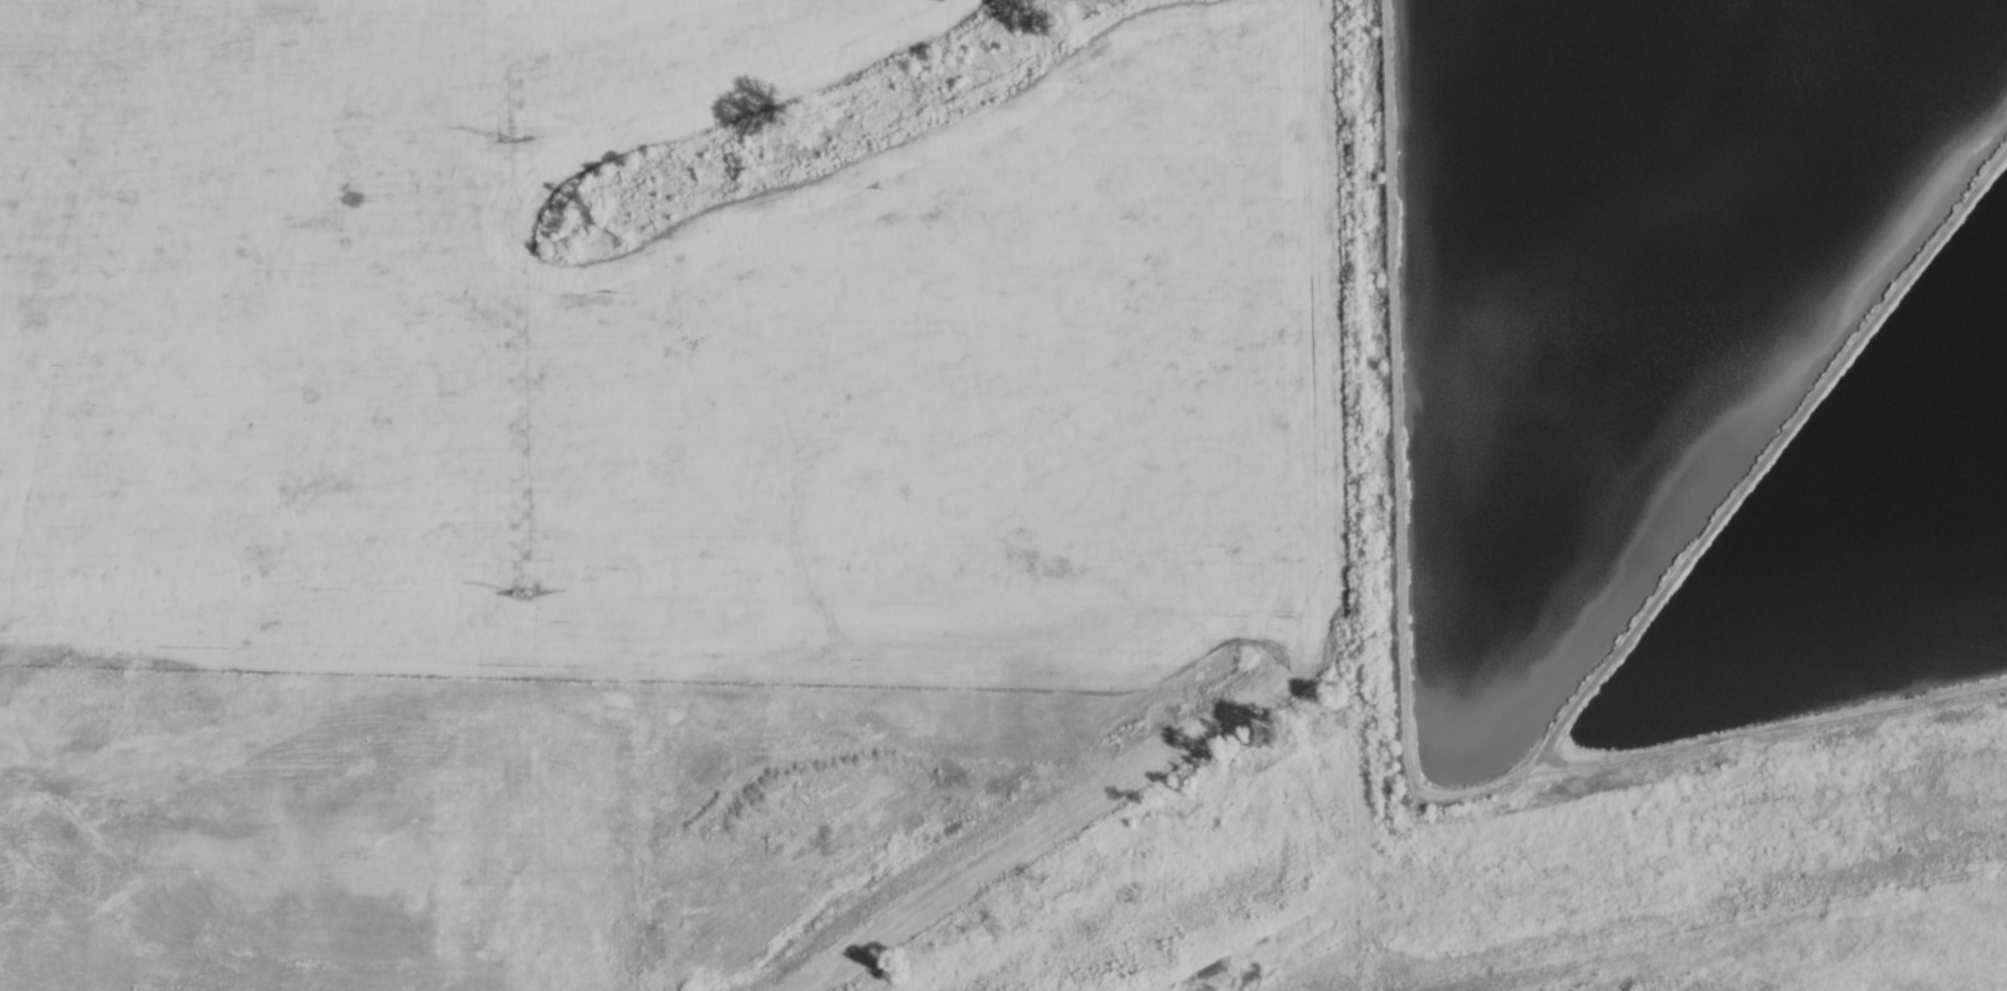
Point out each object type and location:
power tower: (522, 137)
road: (1761, 456)
power tower: (531, 589)
road: (1403, 696)

